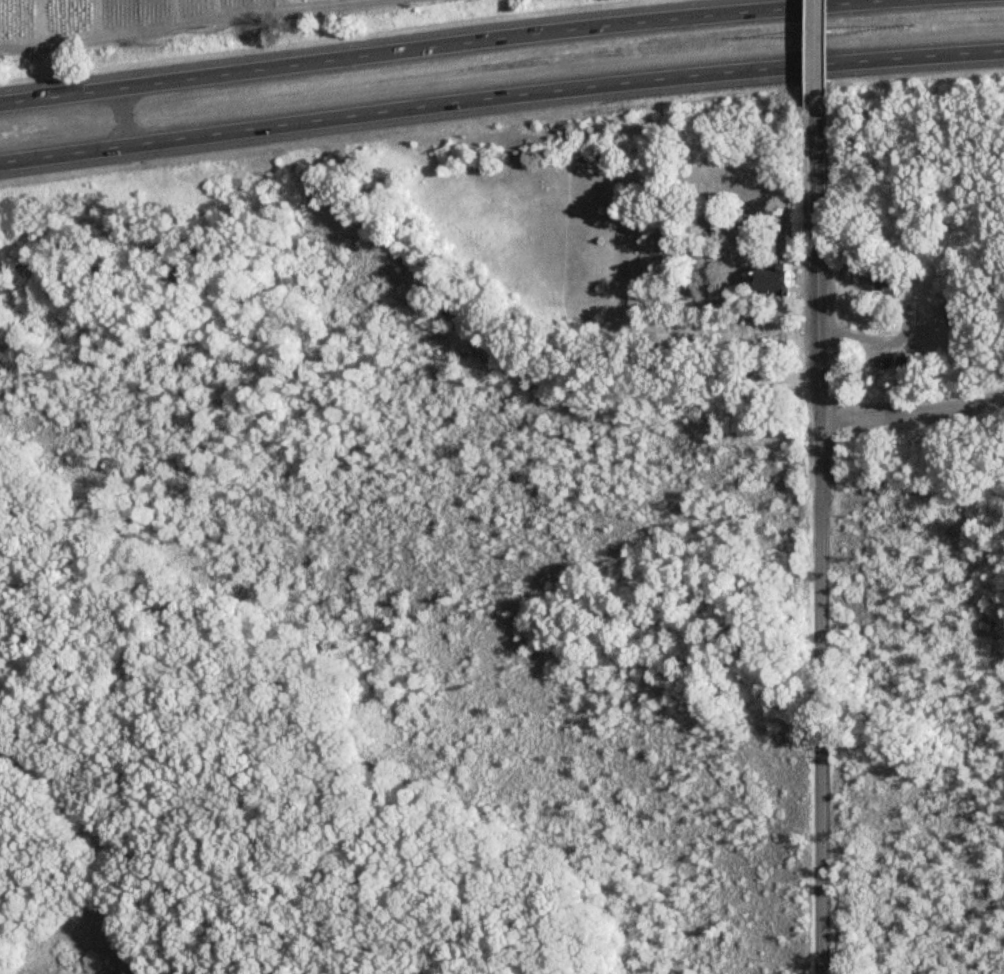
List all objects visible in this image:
crop: (174, 16)
road: (441, 40)
road: (809, 54)
road: (500, 100)
road: (112, 119)
park: (607, 245)
road: (815, 266)
building: (776, 278)
building: (889, 281)
road: (873, 337)
building: (904, 364)
road: (912, 415)
road: (820, 699)

